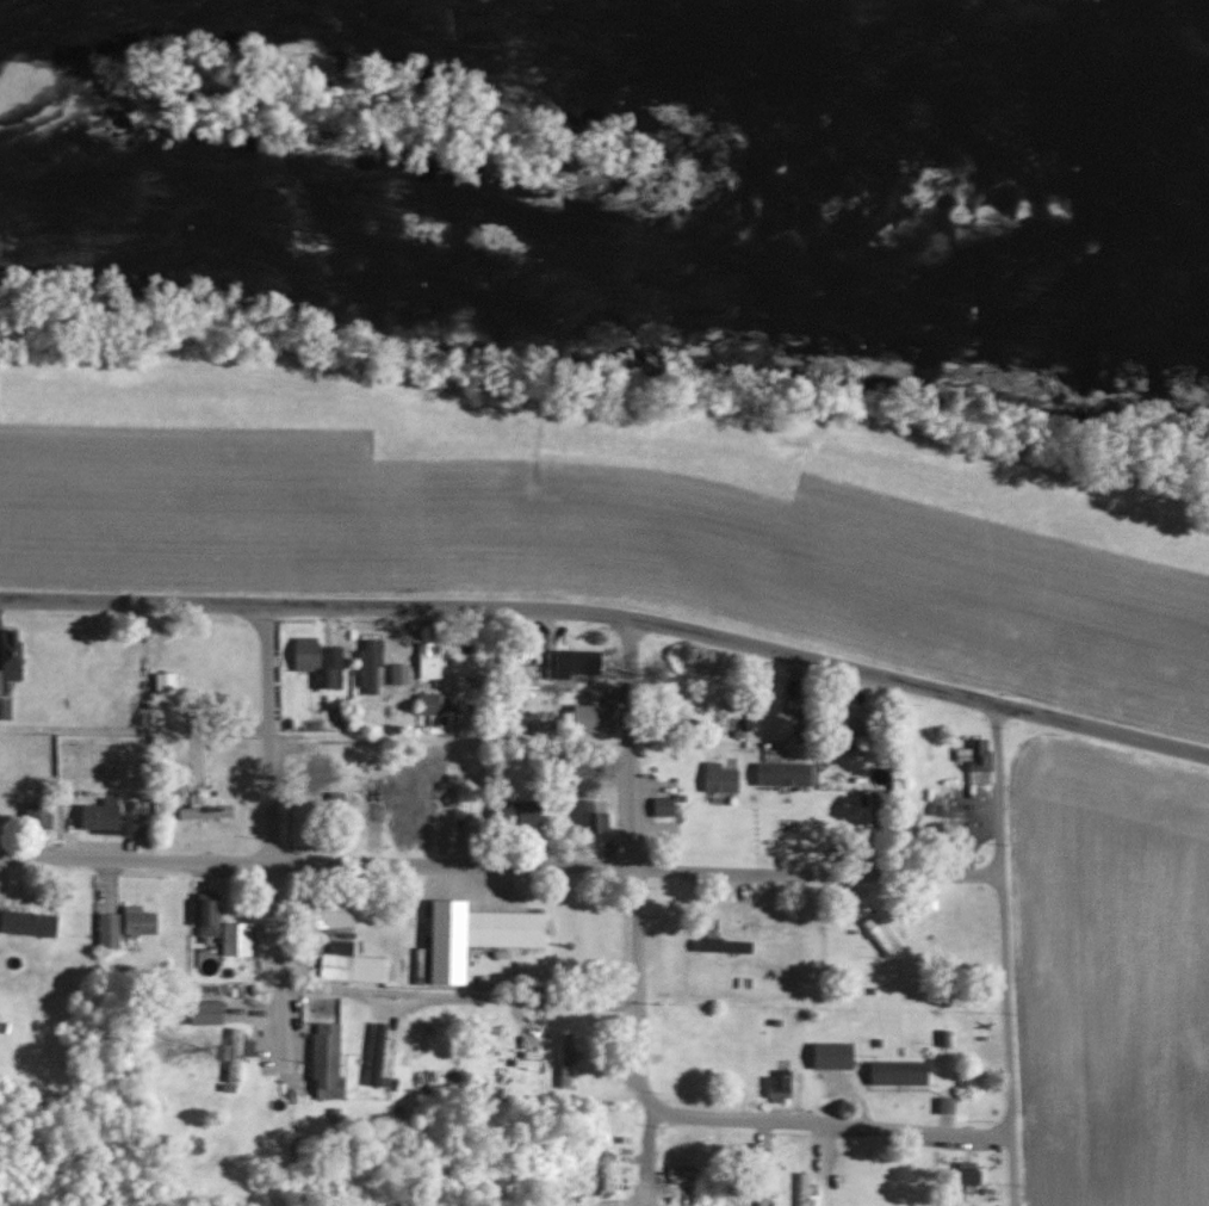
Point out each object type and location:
river: (139, 12)
river: (1053, 47)
road: (612, 608)
building: (12, 654)
building: (320, 661)
building: (430, 661)
building: (585, 661)
building: (372, 666)
building: (401, 674)
building: (167, 682)
building: (4, 701)
building: (429, 703)
building: (593, 717)
building: (857, 726)
building: (978, 760)
building: (604, 768)
building: (786, 773)
building: (316, 777)
building: (720, 777)
building: (664, 805)
building: (207, 811)
building: (526, 811)
building: (103, 814)
building: (593, 817)
building: (132, 824)
road: (272, 828)
road: (500, 855)
road: (635, 878)
building: (334, 913)
building: (207, 916)
building: (139, 921)
building: (29, 923)
building: (110, 930)
building: (478, 934)
building: (882, 935)
building: (237, 938)
building: (725, 945)
road: (1002, 950)
building: (352, 964)
road: (454, 998)
building: (209, 1012)
building: (238, 1053)
building: (377, 1053)
building: (836, 1055)
building: (328, 1060)
building: (568, 1060)
building: (900, 1071)
building: (781, 1084)
building: (948, 1105)
road: (851, 1119)
building: (682, 1173)
building: (807, 1188)

